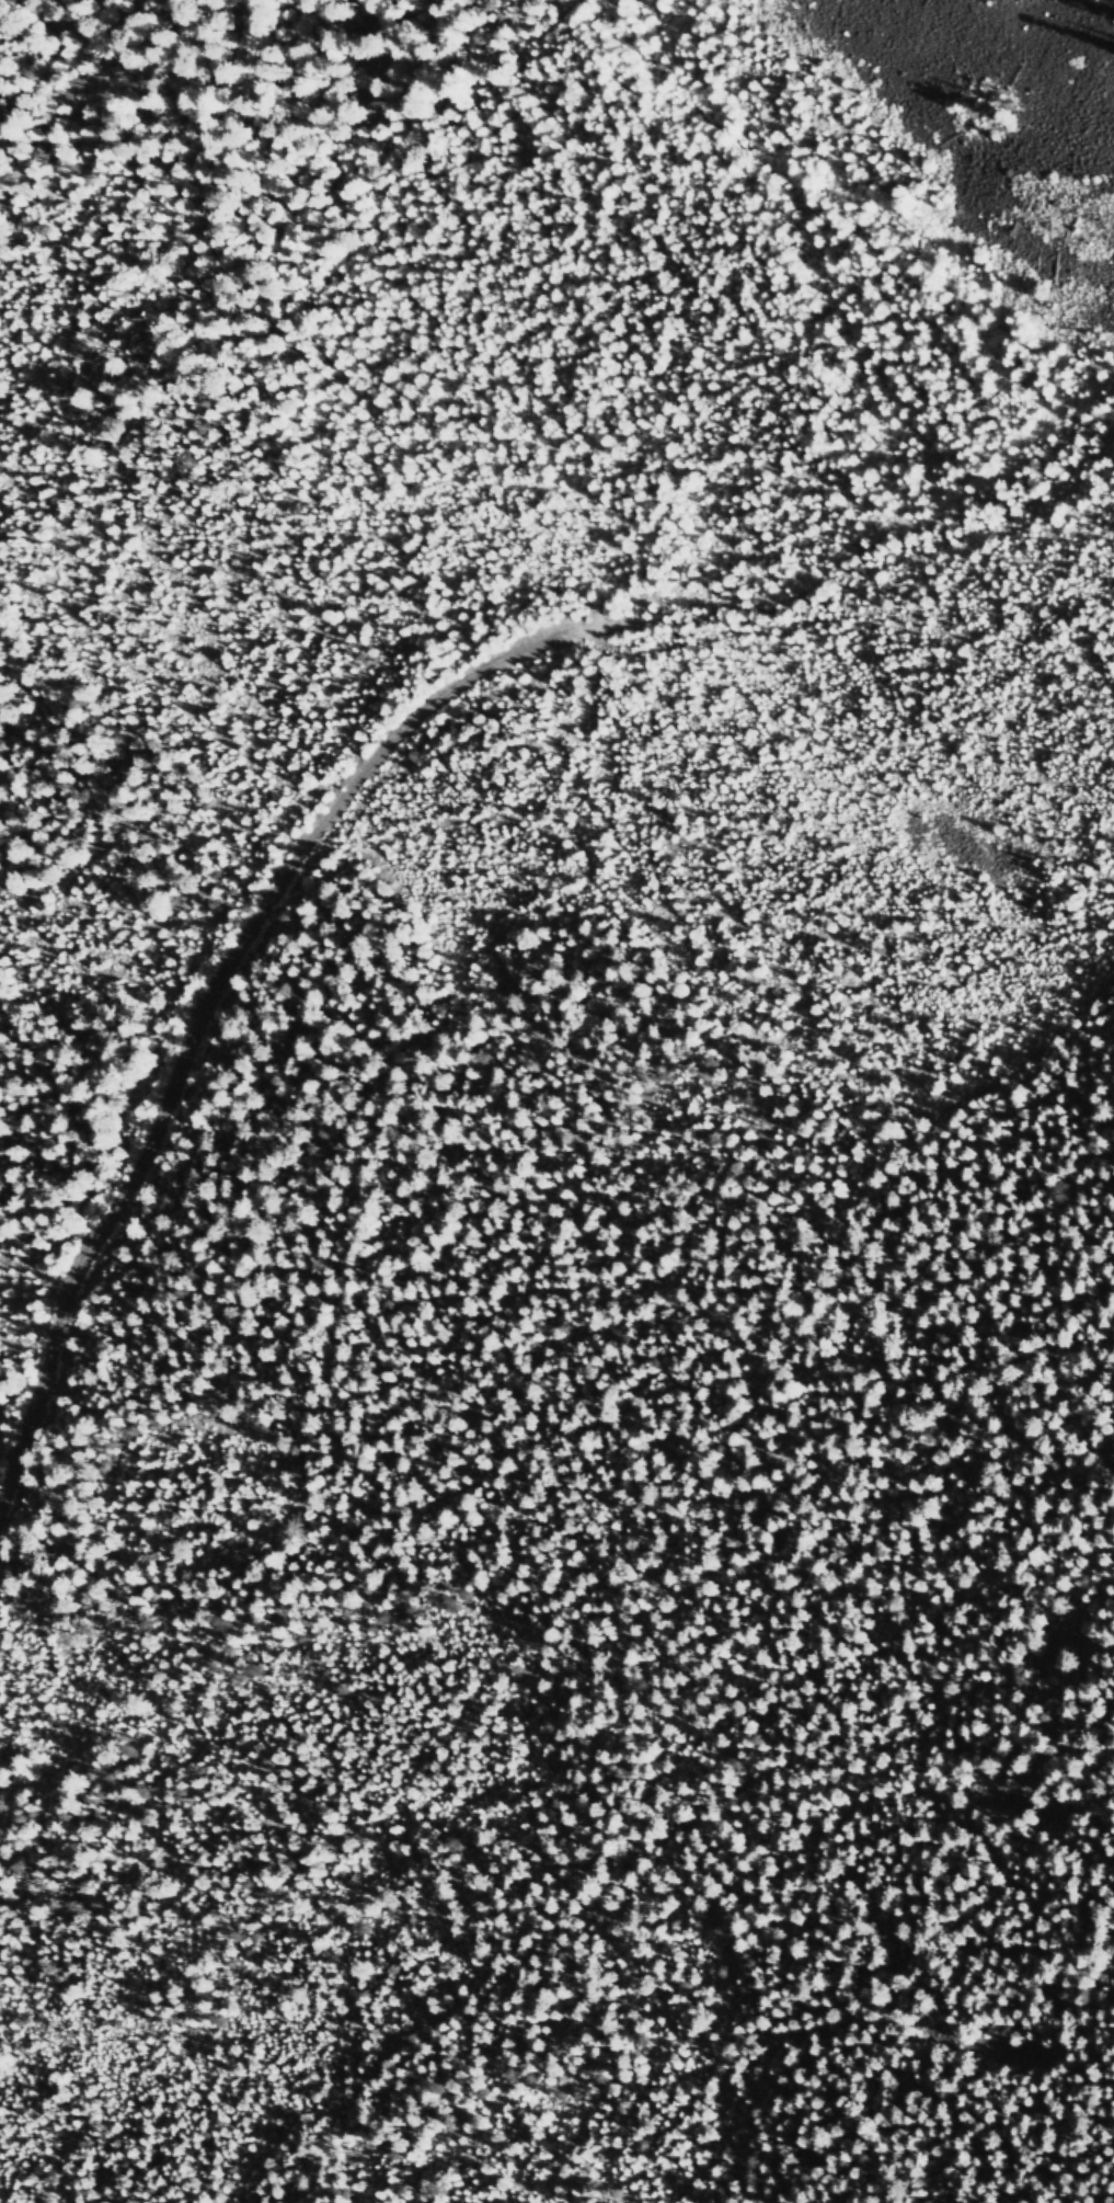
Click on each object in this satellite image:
road: (243, 939)

